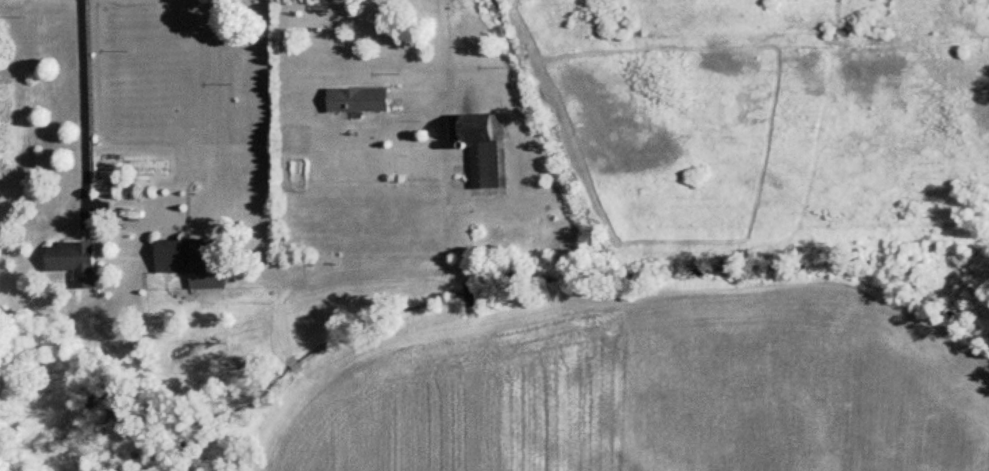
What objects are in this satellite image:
road: (443, 54)
building: (356, 99)
road: (85, 105)
building: (482, 147)
building: (194, 254)
building: (78, 260)

